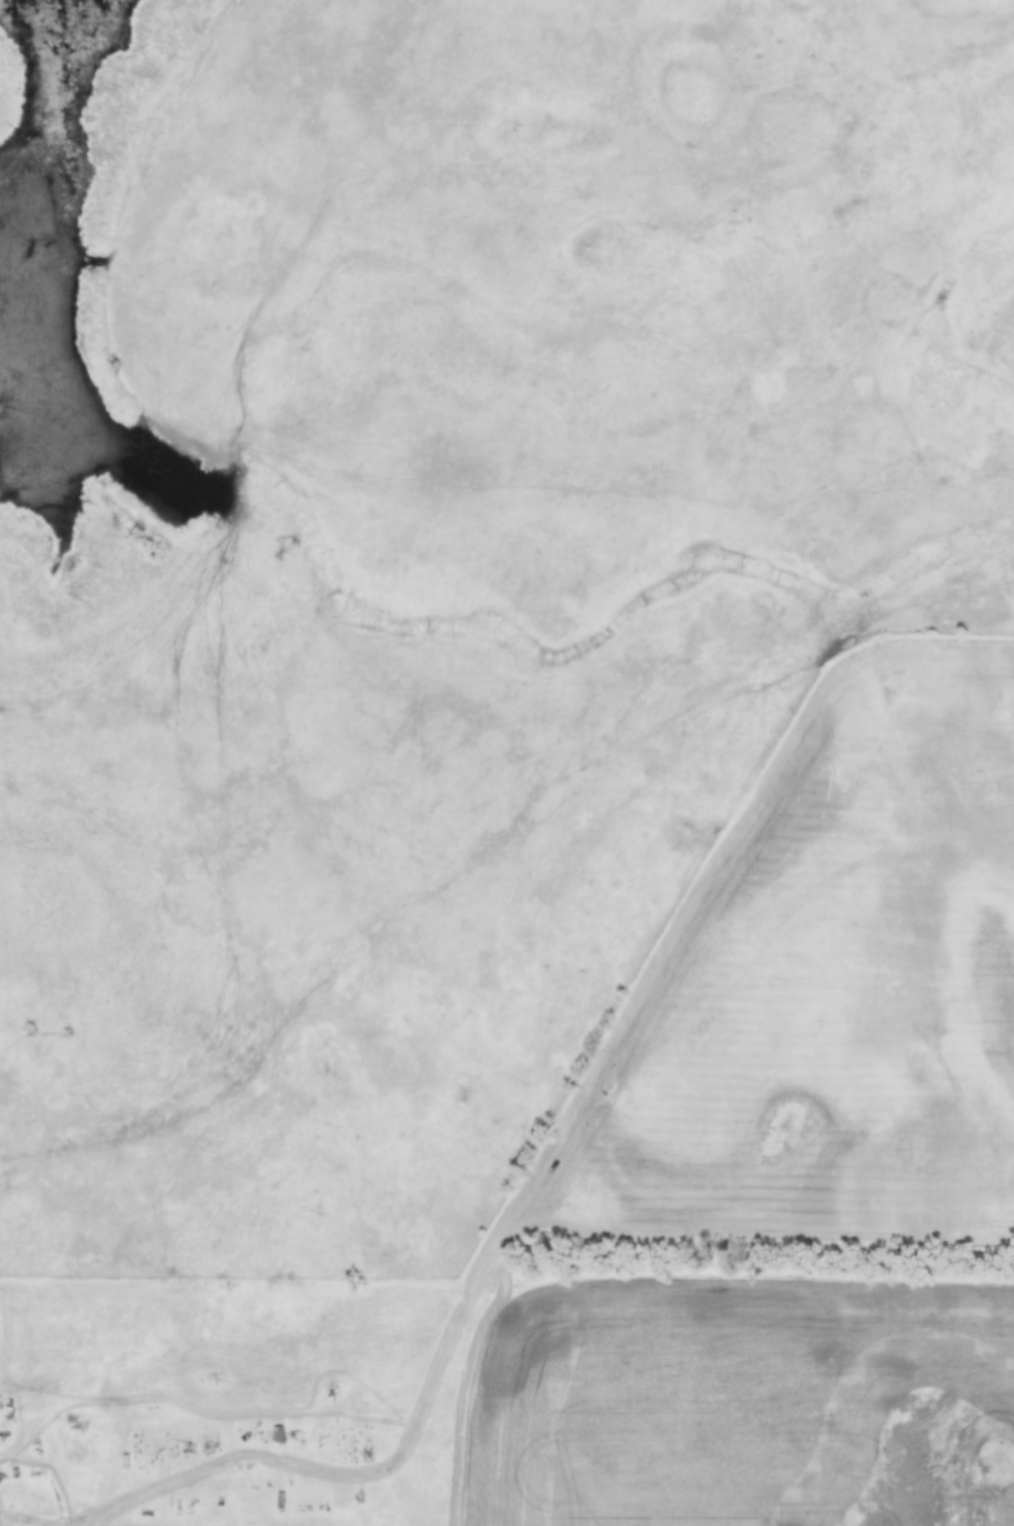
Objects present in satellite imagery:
building: (277, 1433)

